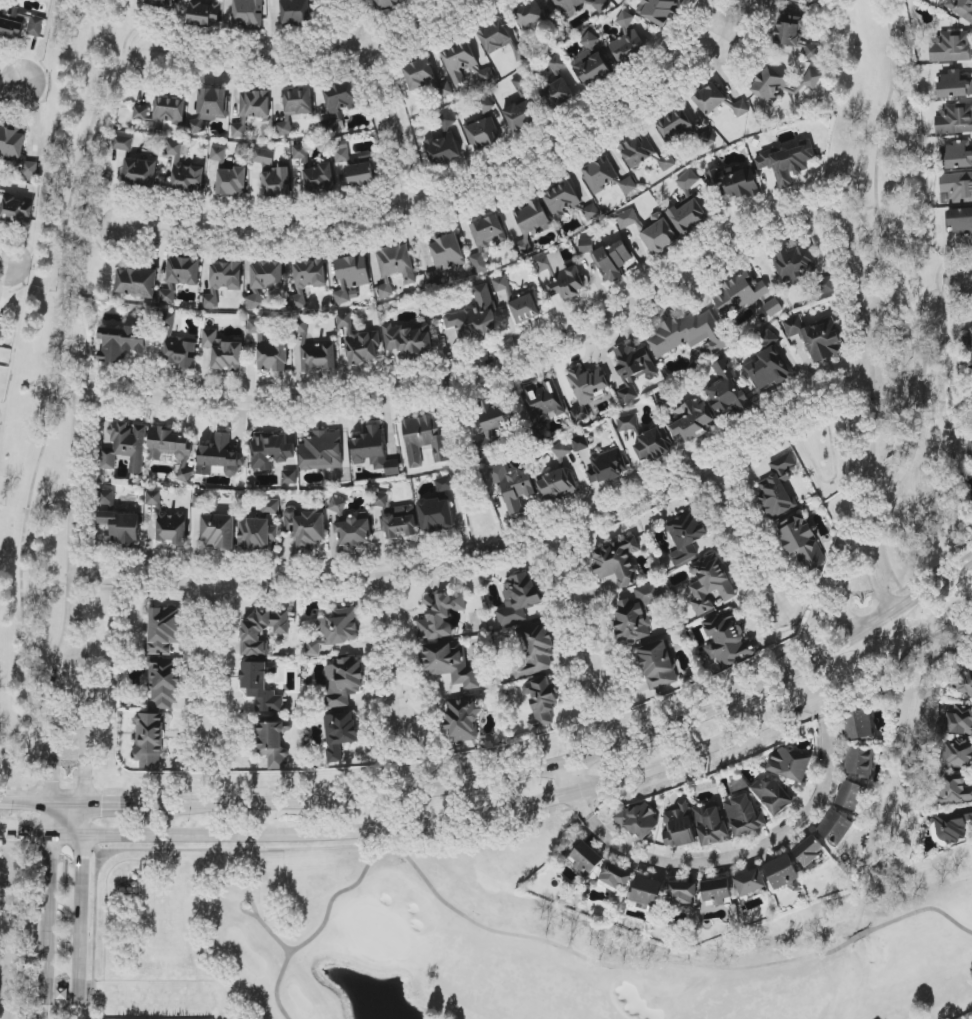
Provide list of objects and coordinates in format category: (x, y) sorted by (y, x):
building: (796, 0)
building: (162, 3)
building: (387, 4)
building: (570, 6)
building: (962, 8)
building: (658, 10)
building: (296, 12)
building: (205, 13)
building: (249, 14)
building: (530, 16)
building: (20, 23)
road: (730, 30)
building: (556, 31)
building: (795, 36)
building: (495, 37)
building: (627, 40)
building: (951, 48)
building: (459, 61)
road: (317, 62)
building: (591, 63)
building: (557, 64)
building: (487, 76)
building: (425, 78)
building: (953, 85)
building: (770, 86)
road: (11, 90)
building: (558, 94)
building: (710, 99)
building: (339, 104)
road: (386, 104)
building: (254, 105)
building: (484, 105)
building: (210, 107)
building: (295, 107)
building: (740, 108)
building: (162, 112)
building: (520, 115)
building: (954, 120)
building: (675, 126)
building: (239, 131)
building: (484, 134)
building: (707, 138)
building: (122, 143)
building: (443, 150)
building: (637, 151)
building: (299, 152)
building: (341, 152)
building: (218, 155)
building: (957, 155)
building: (667, 163)
building: (787, 163)
building: (185, 169)
building: (140, 172)
building: (361, 173)
building: (600, 174)
building: (273, 175)
building: (319, 178)
building: (688, 181)
building: (736, 181)
building: (232, 182)
building: (628, 185)
building: (957, 187)
building: (562, 199)
road: (460, 201)
building: (17, 210)
building: (591, 212)
road: (859, 212)
building: (688, 216)
building: (627, 219)
building: (960, 221)
building: (531, 223)
building: (488, 231)
building: (659, 235)
building: (585, 246)
building: (447, 251)
building: (612, 261)
building: (397, 263)
building: (479, 263)
building: (794, 265)
building: (184, 271)
road: (4, 272)
building: (351, 276)
building: (307, 280)
building: (223, 281)
building: (264, 281)
road: (967, 281)
building: (136, 283)
building: (568, 283)
building: (384, 290)
road: (935, 292)
building: (739, 294)
building: (167, 296)
building: (520, 301)
building: (773, 307)
road: (909, 308)
building: (472, 319)
building: (793, 326)
building: (688, 334)
building: (408, 339)
building: (968, 340)
building: (124, 342)
building: (359, 342)
building: (822, 342)
building: (177, 345)
building: (269, 350)
building: (314, 350)
building: (223, 351)
building: (768, 364)
building: (633, 369)
road: (475, 372)
road: (869, 374)
road: (71, 376)
building: (586, 389)
building: (726, 391)
road: (895, 400)
building: (543, 402)
building: (664, 402)
road: (48, 423)
building: (493, 423)
building: (627, 423)
building: (424, 439)
building: (580, 443)
building: (125, 446)
building: (653, 446)
building: (172, 450)
building: (561, 450)
building: (969, 450)
building: (322, 451)
building: (374, 451)
building: (271, 452)
building: (220, 457)
building: (607, 466)
building: (289, 477)
road: (833, 479)
building: (445, 484)
building: (558, 485)
building: (513, 487)
building: (777, 488)
building: (106, 497)
building: (381, 500)
building: (317, 506)
building: (337, 506)
building: (270, 507)
road: (74, 510)
building: (436, 515)
building: (168, 522)
building: (399, 522)
building: (121, 528)
building: (306, 528)
building: (219, 531)
building: (355, 531)
building: (257, 534)
road: (747, 536)
building: (686, 537)
building: (801, 542)
road: (494, 557)
building: (617, 562)
road: (47, 578)
building: (710, 583)
building: (518, 598)
road: (884, 602)
road: (579, 608)
building: (637, 612)
road: (844, 614)
building: (440, 615)
building: (164, 630)
building: (262, 631)
building: (335, 631)
building: (727, 640)
building: (535, 648)
road: (394, 651)
road: (214, 653)
road: (900, 655)
building: (451, 664)
building: (658, 664)
building: (343, 682)
building: (962, 682)
building: (165, 683)
building: (261, 686)
building: (541, 702)
road: (56, 718)
road: (84, 719)
building: (463, 719)
building: (960, 721)
building: (858, 724)
building: (339, 734)
building: (149, 740)
building: (273, 743)
road: (707, 750)
building: (957, 754)
building: (860, 761)
building: (790, 764)
road: (511, 777)
road: (579, 781)
building: (955, 789)
road: (93, 790)
building: (773, 795)
building: (850, 796)
building: (744, 816)
building: (638, 821)
building: (711, 825)
building: (951, 826)
building: (679, 827)
building: (836, 827)
road: (26, 833)
road: (320, 833)
road: (748, 851)
building: (809, 851)
building: (586, 859)
building: (782, 872)
building: (615, 876)
building: (750, 882)
building: (716, 891)
building: (646, 892)
building: (682, 893)
road: (50, 912)
road: (79, 912)
park: (451, 947)
building: (62, 994)

